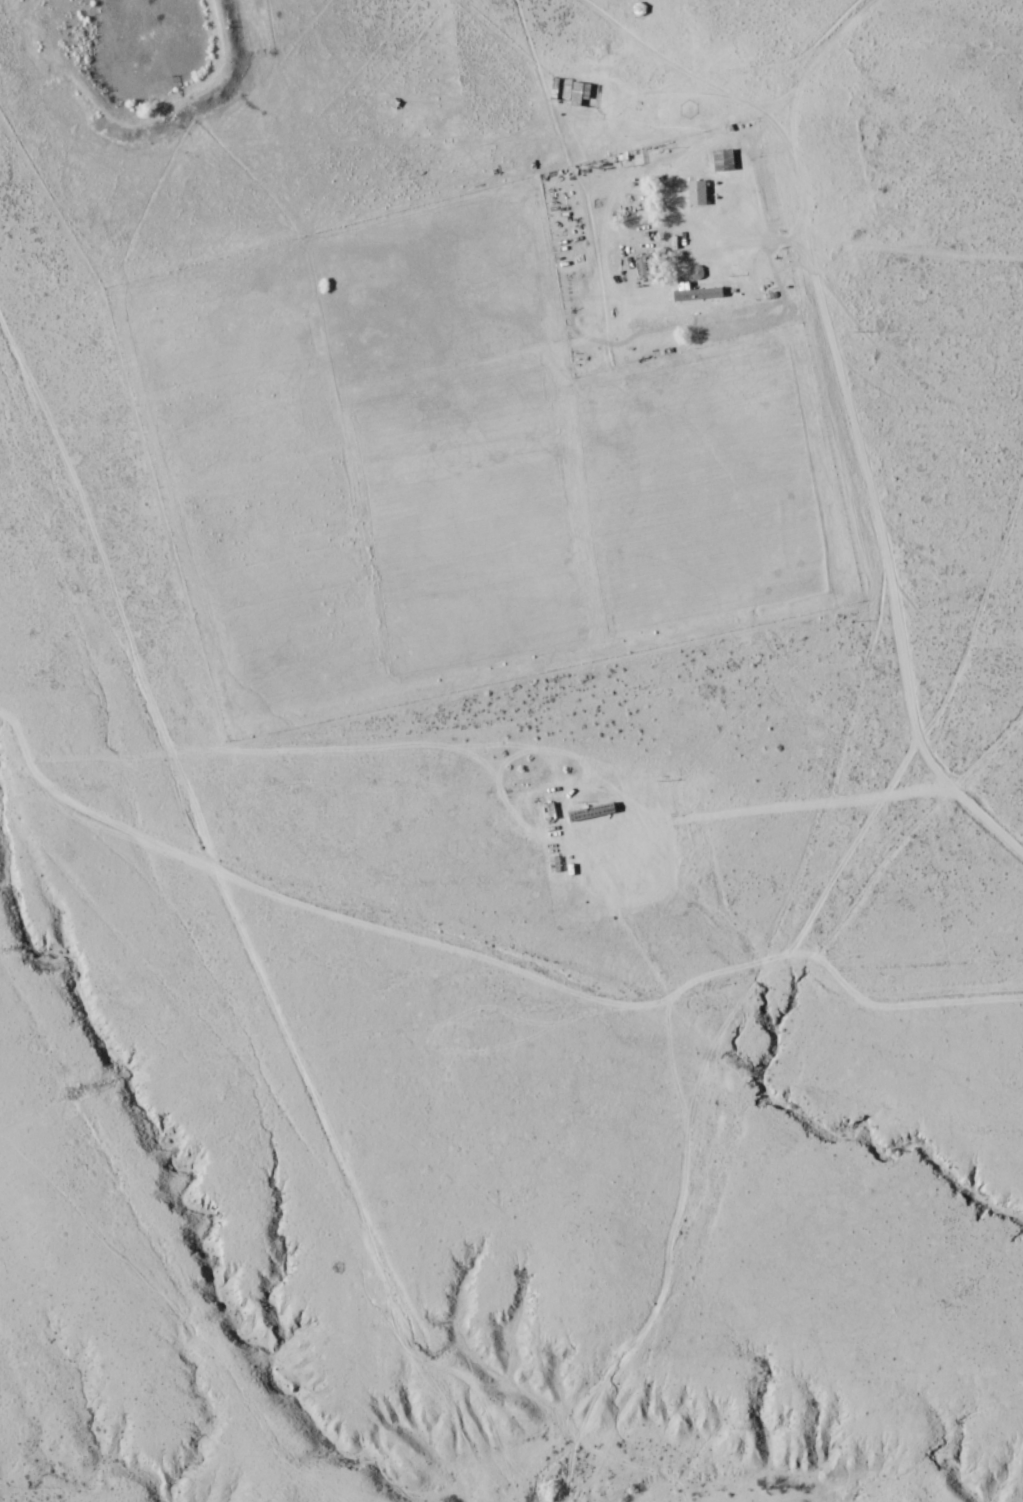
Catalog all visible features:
road: (662, 60)
building: (722, 160)
building: (696, 192)
building: (697, 293)
road: (852, 430)
road: (241, 940)

